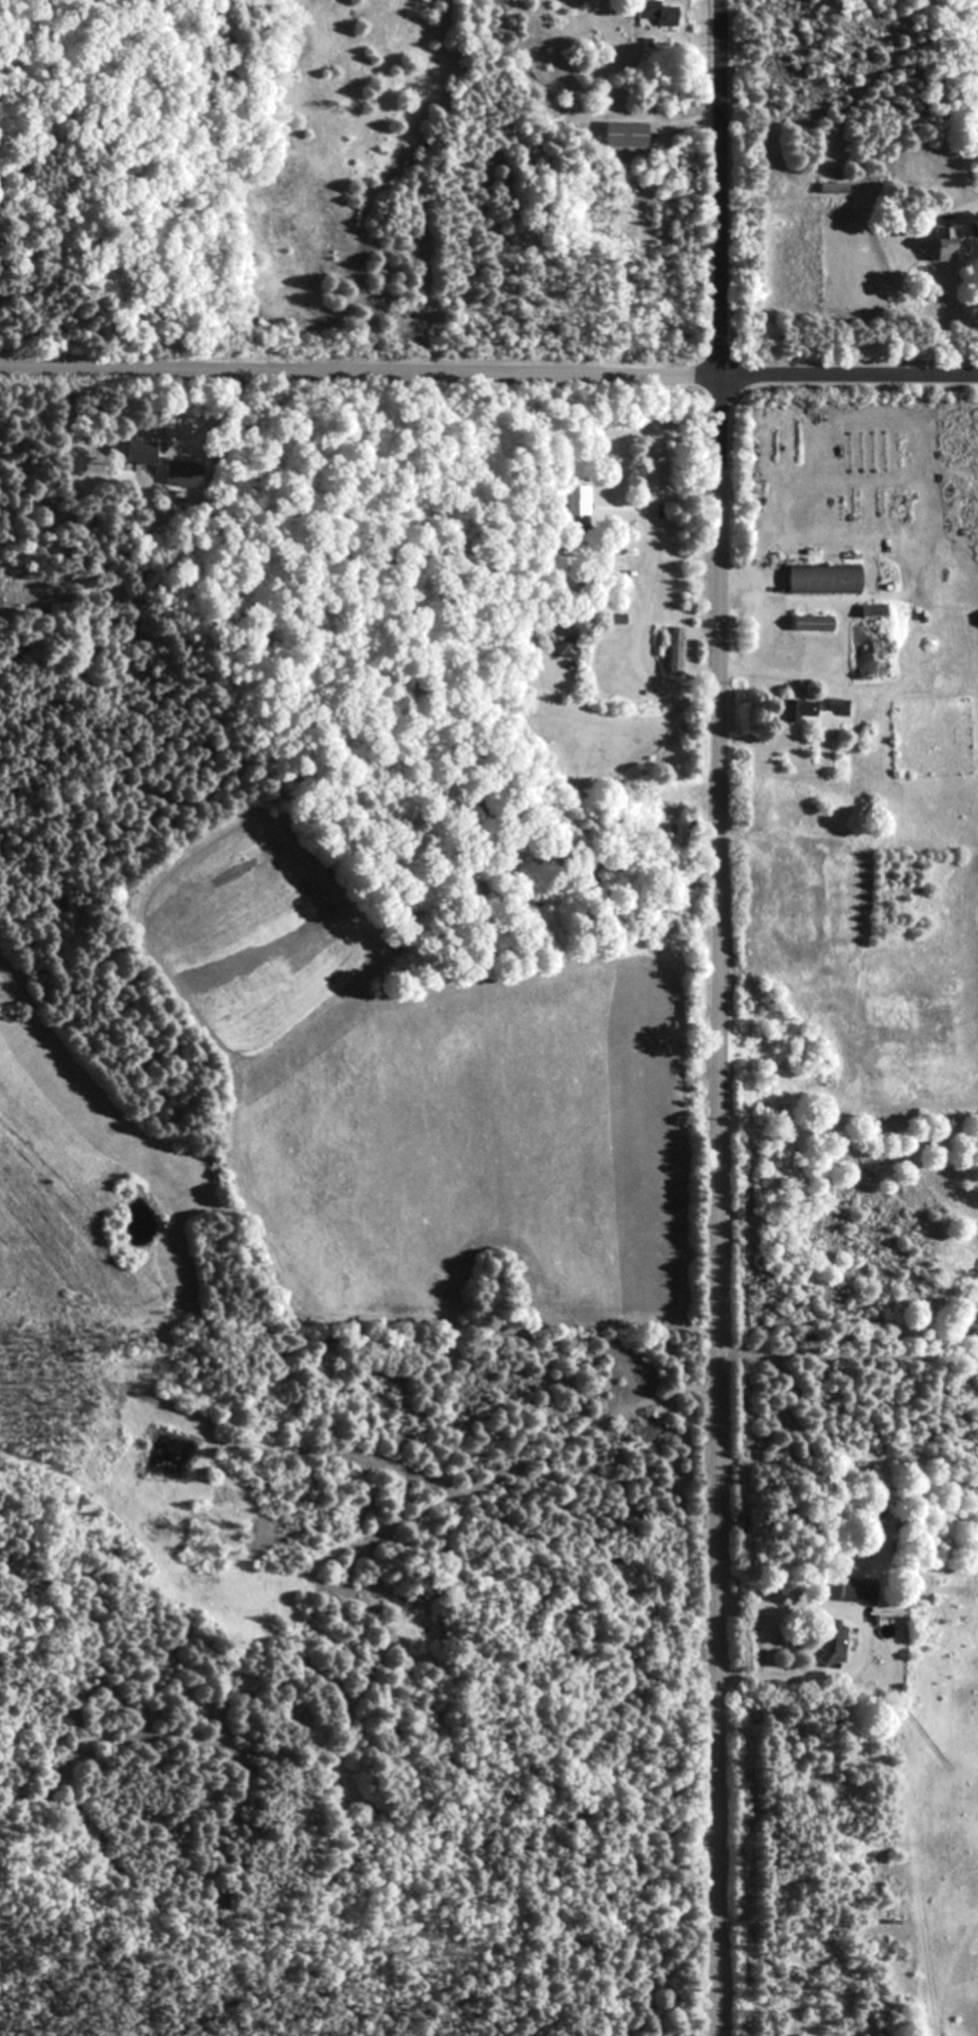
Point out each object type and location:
building: (655, 14)
building: (623, 136)
building: (831, 188)
road: (967, 205)
building: (937, 246)
road: (848, 376)
road: (359, 380)
road: (169, 410)
building: (137, 453)
road: (650, 573)
building: (822, 579)
building: (808, 623)
building: (872, 640)
building: (672, 650)
road: (778, 673)
building: (835, 706)
building: (796, 709)
road: (718, 1017)
road: (546, 1451)
building: (853, 1592)
road: (863, 1641)
building: (832, 1642)

